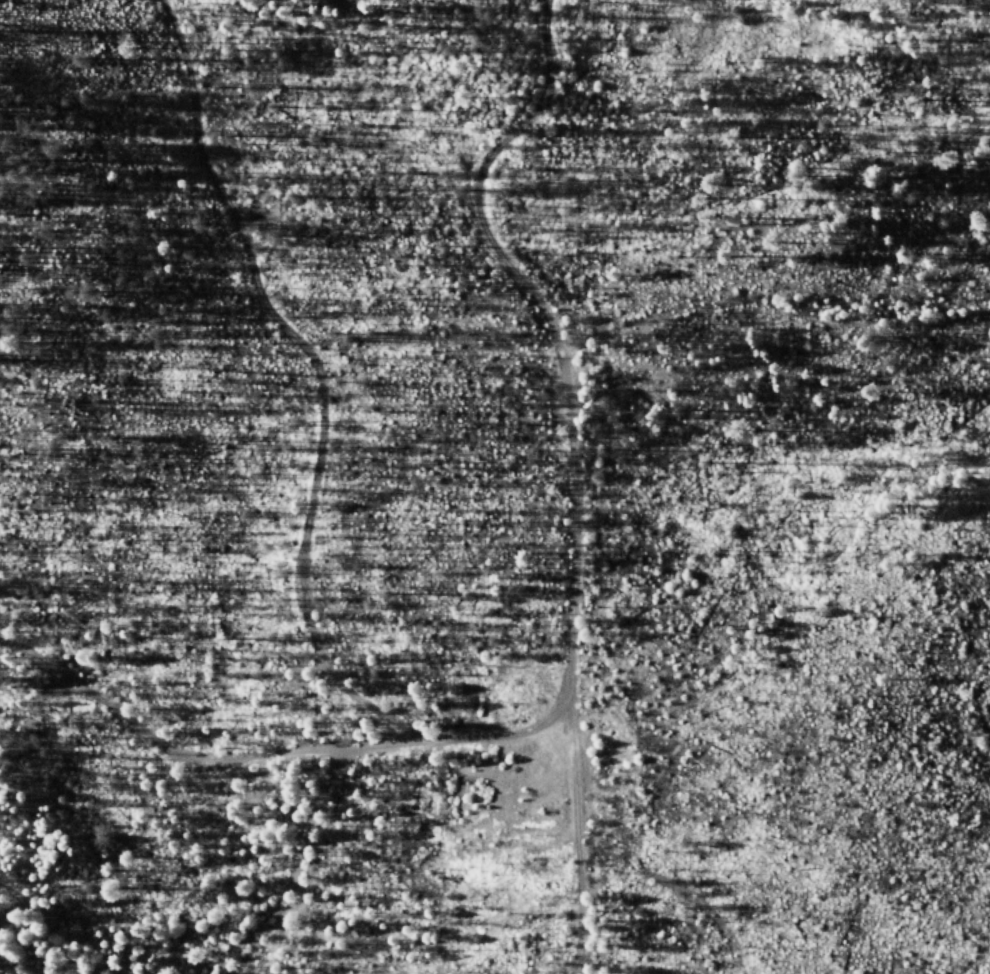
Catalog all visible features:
road: (568, 460)
road: (273, 745)

